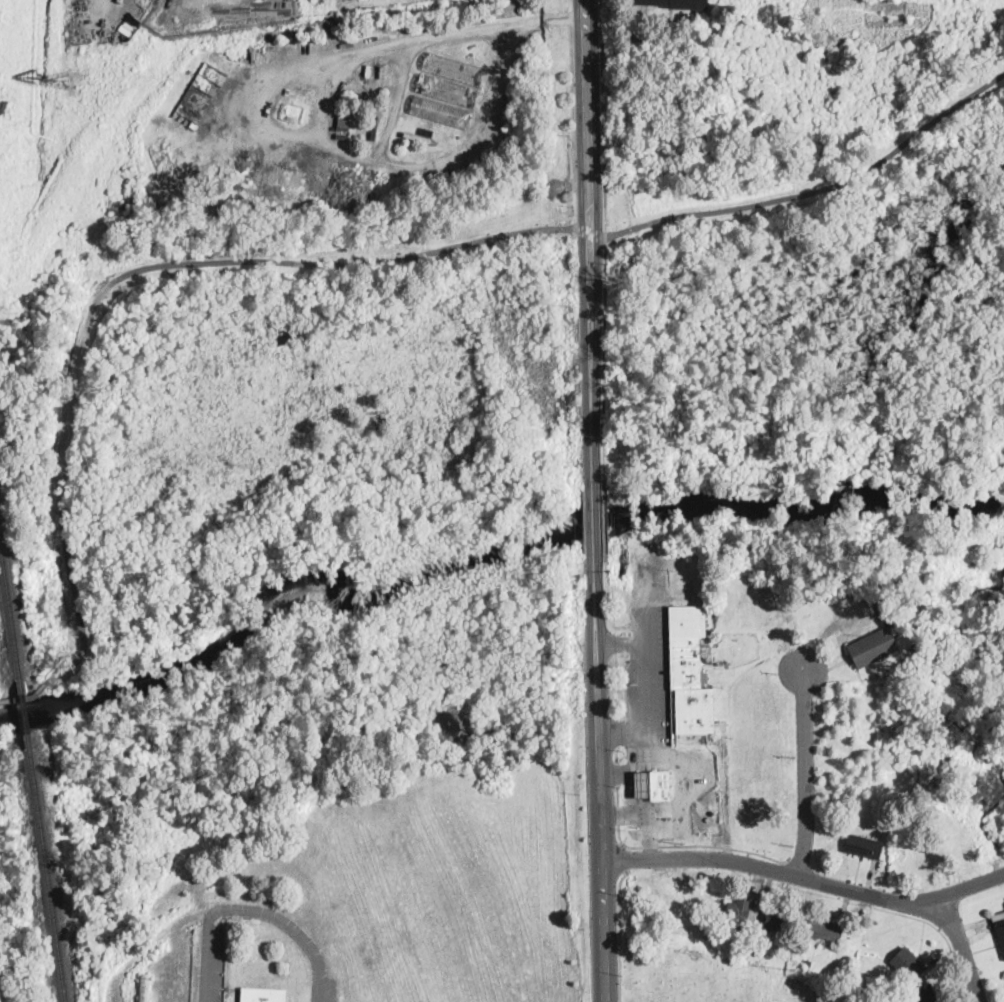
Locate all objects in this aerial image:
building: (675, 4)
building: (453, 67)
building: (447, 89)
building: (441, 111)
road: (603, 117)
building: (343, 121)
road: (388, 125)
building: (375, 126)
building: (421, 134)
road: (818, 189)
road: (590, 230)
road: (591, 243)
road: (130, 273)
power tower: (574, 308)
road: (604, 360)
road: (593, 520)
road: (604, 522)
road: (607, 605)
railway: (11, 615)
building: (877, 638)
road: (621, 644)
road: (628, 644)
power tower: (581, 669)
road: (611, 677)
building: (689, 678)
road: (25, 697)
road: (647, 709)
railway: (25, 712)
road: (624, 729)
road: (616, 731)
road: (616, 754)
road: (620, 767)
road: (805, 771)
road: (616, 773)
road: (601, 777)
building: (641, 783)
gas station: (641, 783)
building: (659, 784)
road: (686, 785)
road: (617, 794)
road: (648, 813)
road: (617, 814)
road: (699, 844)
building: (863, 847)
road: (624, 858)
railway: (46, 867)
road: (806, 877)
road: (256, 908)
building: (741, 913)
building: (777, 920)
building: (1000, 926)
building: (823, 930)
road: (619, 933)
building: (722, 936)
road: (964, 946)
building: (741, 951)
building: (808, 963)
building: (907, 963)
power tower: (793, 970)
park: (714, 978)
building: (142, 989)
building: (925, 993)
building: (263, 995)

